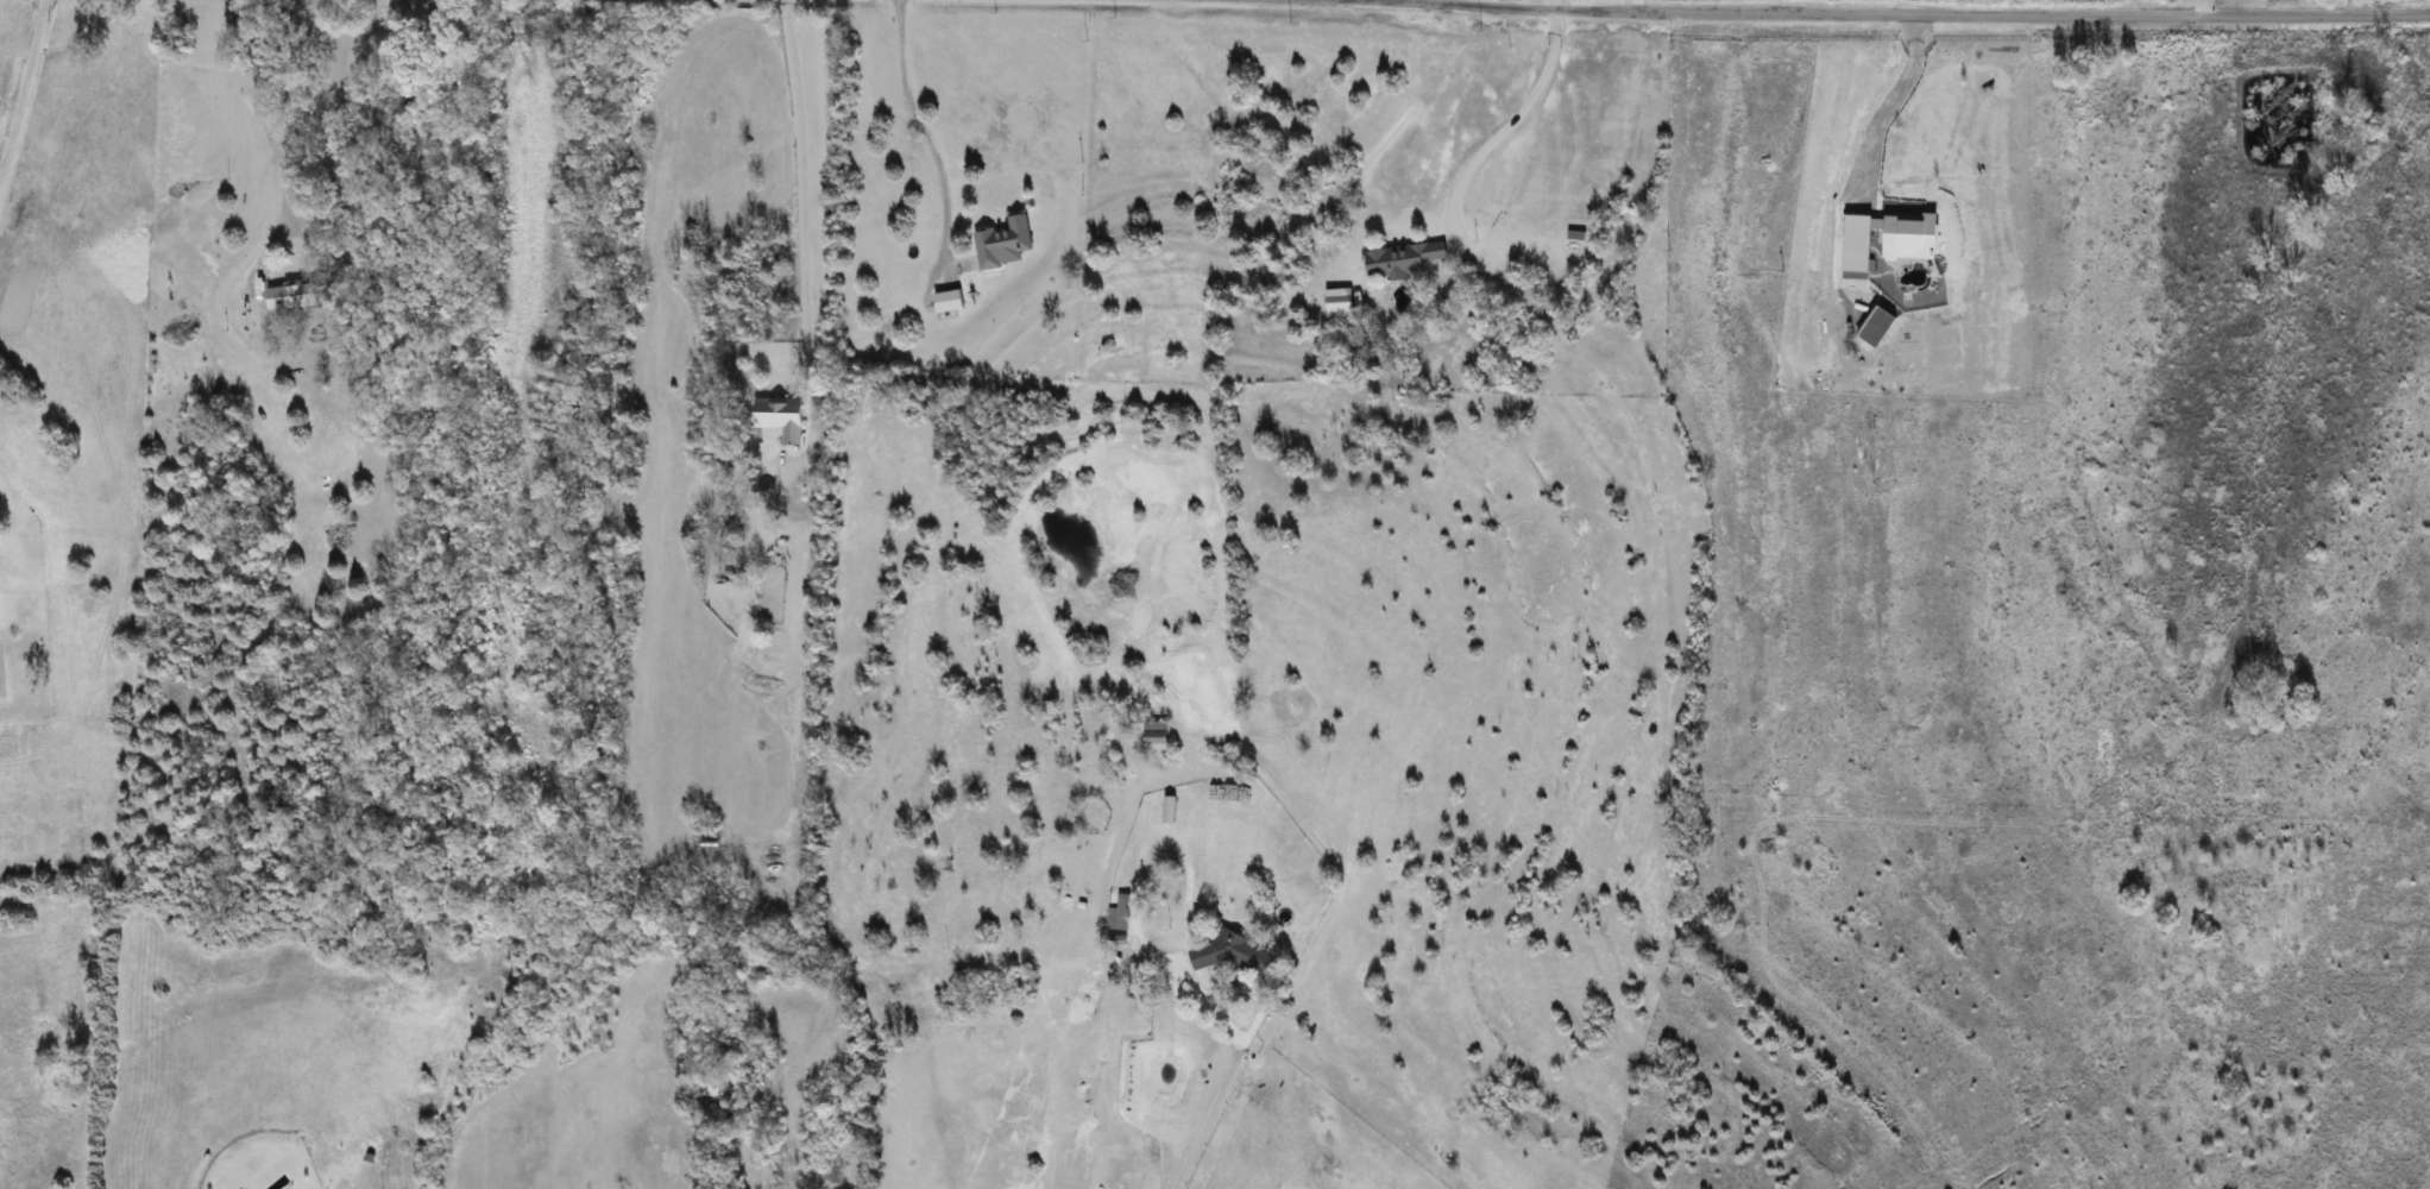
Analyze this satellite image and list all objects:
road: (2203, 7)
road: (1890, 12)
road: (21, 90)
road: (1889, 95)
road: (917, 112)
road: (1515, 124)
road: (298, 143)
road: (801, 174)
building: (1403, 260)
building: (291, 296)
building: (252, 301)
building: (1339, 302)
building: (780, 420)
building: (1156, 737)
building: (1119, 913)
building: (1236, 955)
road: (1230, 980)
road: (1207, 1113)

